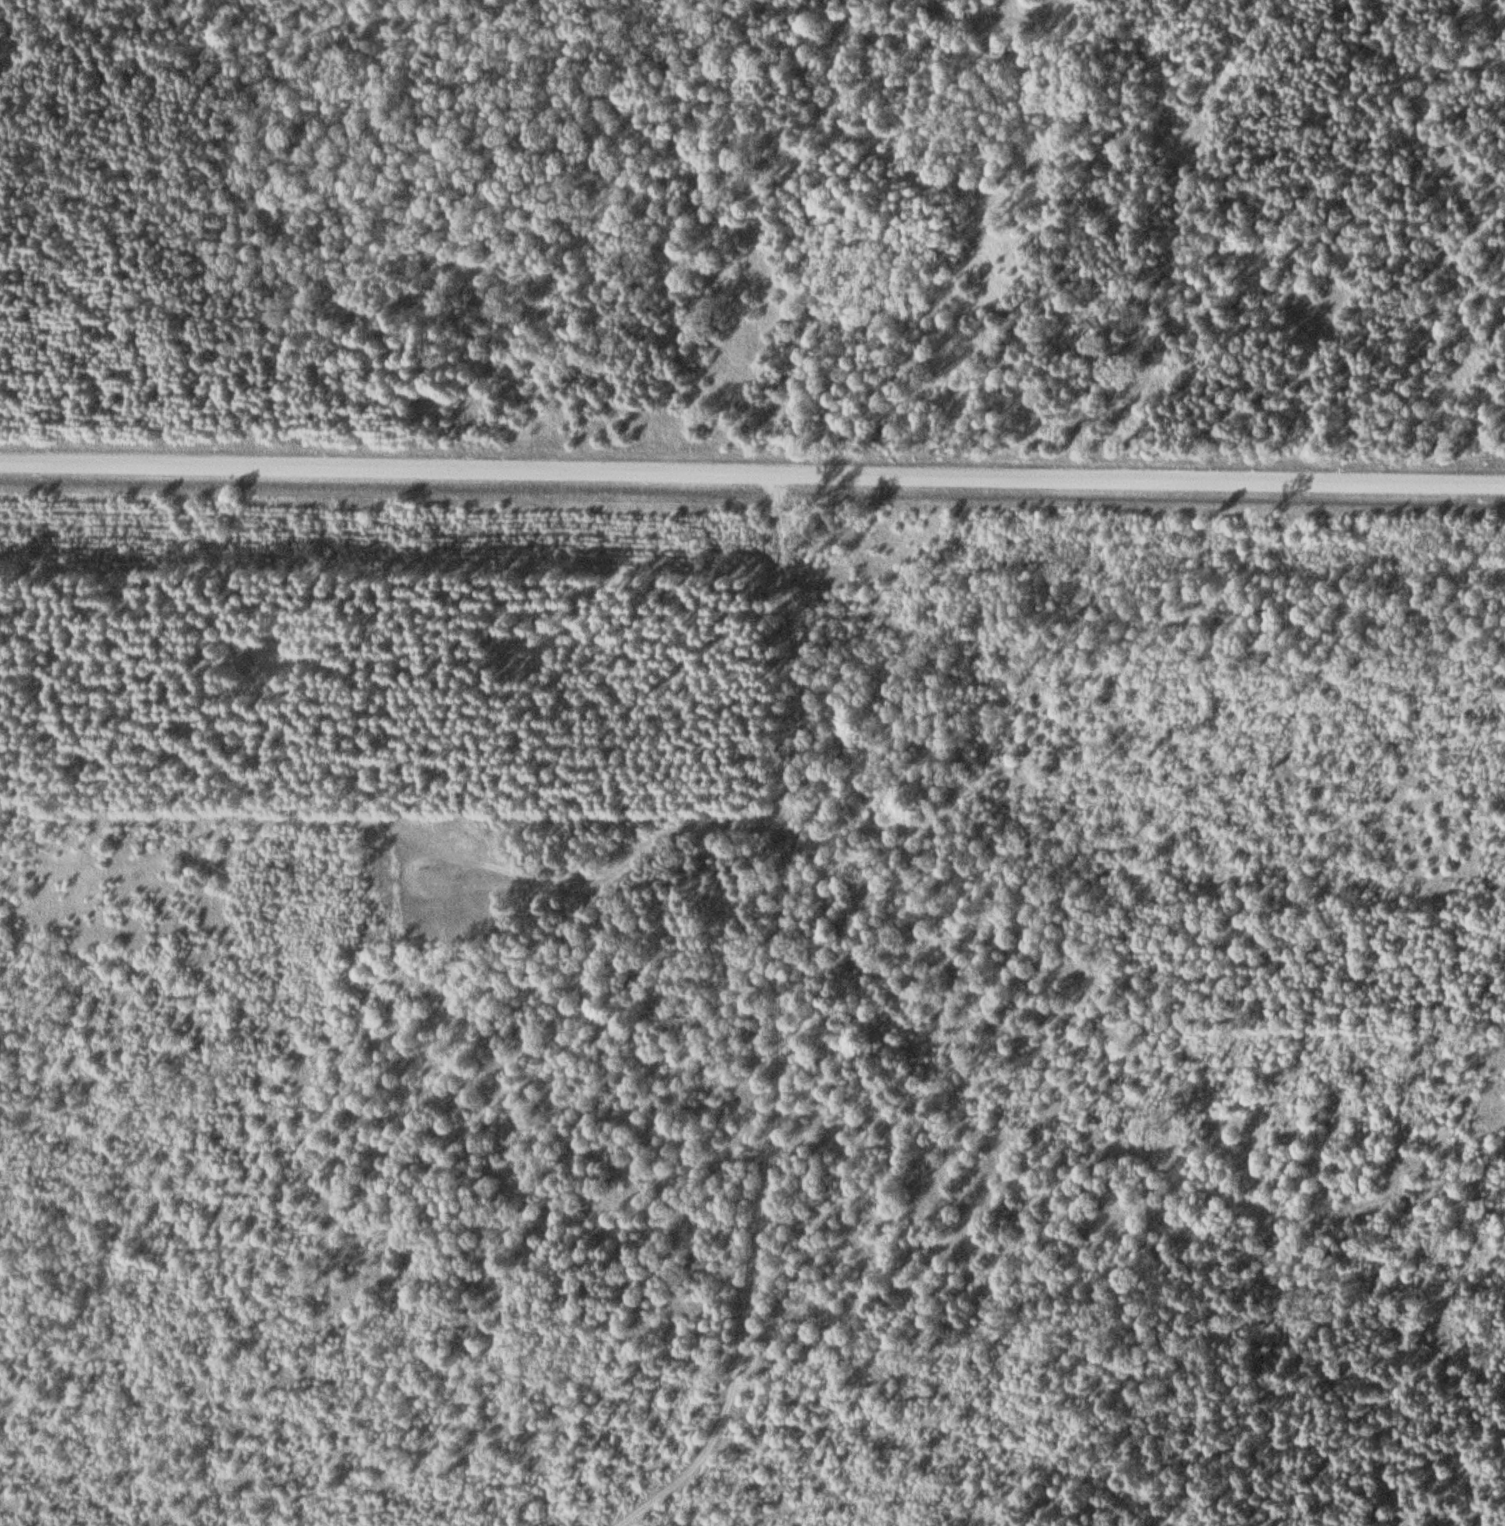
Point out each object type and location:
road: (752, 470)
road: (813, 655)
road: (780, 1025)

